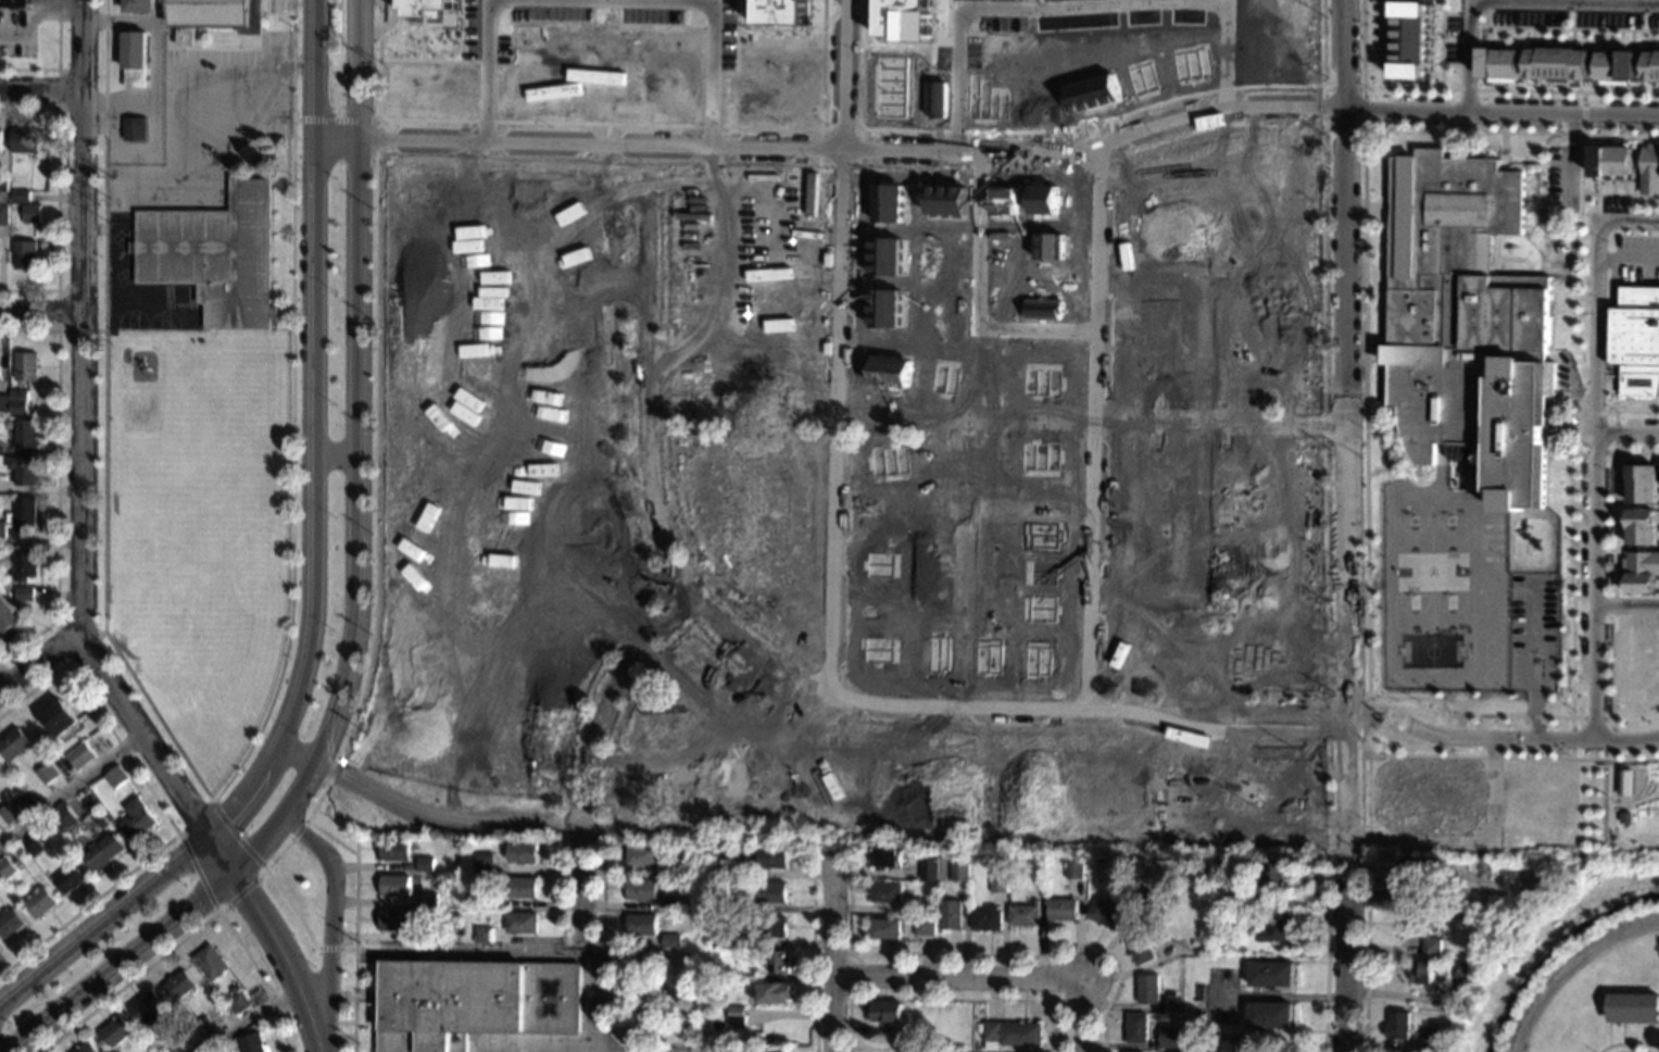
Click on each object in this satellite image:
road: (1511, 0)
building: (14, 3)
building: (139, 5)
building: (425, 8)
road: (981, 9)
building: (780, 12)
parking lot: (1575, 12)
parking lot: (12, 15)
road: (34, 16)
building: (215, 16)
building: (905, 18)
road: (424, 24)
road: (711, 24)
road: (1564, 27)
road: (387, 28)
road: (1226, 34)
road: (1442, 36)
building: (1409, 39)
road: (1379, 45)
parking lot: (17, 49)
building: (135, 58)
road: (449, 61)
road: (55, 62)
building: (1499, 62)
building: (1559, 63)
building: (1652, 65)
building: (1618, 66)
road: (60, 71)
road: (487, 73)
road: (843, 75)
road: (1467, 90)
road: (40, 91)
road: (1583, 112)
road: (335, 118)
road: (442, 122)
road: (1362, 127)
building: (135, 128)
road: (1022, 133)
road: (1323, 135)
building: (1, 139)
building: (24, 140)
road: (989, 152)
building: (254, 155)
road: (353, 156)
road: (474, 159)
building: (1612, 162)
road: (646, 163)
road: (752, 165)
building: (1650, 167)
building: (2, 176)
road: (1612, 192)
building: (812, 193)
building: (21, 196)
road: (1657, 196)
building: (1, 197)
road: (56, 199)
building: (30, 214)
building: (3, 215)
building: (25, 254)
building: (214, 254)
road: (1627, 259)
road: (1578, 263)
parking lot: (1636, 288)
road: (1596, 299)
road: (980, 301)
road: (40, 310)
road: (80, 318)
flagpole: (274, 322)
building: (1466, 324)
road: (60, 331)
building: (1636, 339)
building: (25, 365)
building: (0, 379)
building: (17, 401)
building: (3, 403)
road: (502, 409)
road: (665, 410)
road: (742, 413)
road: (834, 419)
building: (7, 424)
road: (1094, 428)
road: (1622, 431)
building: (25, 433)
road: (312, 433)
road: (1327, 444)
road: (1614, 451)
road: (356, 452)
road: (334, 455)
building: (22, 468)
building: (1642, 481)
road: (55, 483)
road: (658, 506)
park: (200, 509)
park: (1428, 511)
building: (24, 513)
road: (1349, 526)
building: (1642, 526)
building: (1, 531)
road: (1367, 558)
building: (24, 564)
building: (1641, 571)
road: (1614, 585)
building: (24, 593)
road: (1596, 594)
road: (679, 603)
road: (1626, 604)
park: (178, 616)
building: (7, 618)
road: (81, 627)
road: (804, 663)
road: (37, 664)
road: (12, 680)
road: (1328, 689)
road: (1160, 714)
building: (59, 716)
road: (1593, 717)
road: (467, 723)
road: (976, 727)
road: (1368, 734)
road: (139, 736)
building: (14, 743)
road: (299, 751)
road: (592, 753)
building: (79, 756)
road: (1513, 757)
building: (0, 766)
building: (0, 767)
building: (47, 772)
building: (115, 776)
building: (1625, 782)
road: (70, 792)
road: (205, 798)
park: (1508, 800)
road: (161, 809)
building: (8, 813)
building: (1626, 816)
building: (63, 817)
road: (192, 817)
road: (443, 817)
building: (137, 818)
road: (562, 818)
building: (102, 822)
road: (297, 828)
building: (420, 842)
road: (1474, 843)
building: (33, 846)
building: (681, 849)
building: (394, 850)
building: (102, 851)
road: (219, 852)
building: (521, 852)
building: (642, 855)
building: (772, 857)
building: (889, 860)
building: (483, 863)
building: (425, 864)
building: (5, 867)
building: (930, 868)
building: (1274, 869)
building: (1482, 869)
building: (742, 871)
road: (833, 871)
building: (1073, 871)
building: (1416, 871)
building: (960, 872)
building: (423, 876)
building: (68, 877)
building: (1010, 879)
building: (998, 884)
building: (394, 885)
building: (523, 887)
building: (1009, 888)
building: (641, 889)
road: (564, 890)
road: (240, 891)
road: (279, 891)
building: (771, 891)
building: (887, 892)
road: (1367, 893)
building: (1240, 899)
building: (428, 900)
building: (1147, 900)
building: (39, 902)
building: (673, 905)
building: (740, 905)
road: (330, 906)
building: (919, 910)
building: (1063, 910)
building: (1105, 914)
building: (1025, 915)
building: (951, 916)
road: (103, 917)
building: (1236, 917)
building: (986, 919)
building: (394, 920)
building: (10, 923)
building: (523, 923)
building: (642, 925)
building: (925, 926)
building: (772, 927)
building: (859, 928)
building: (884, 928)
building: (1236, 928)
building: (460, 930)
building: (1428, 930)
building: (1278, 931)
road: (188, 934)
building: (427, 935)
building: (483, 935)
building: (671, 941)
building: (740, 941)
road: (354, 943)
road: (336, 948)
building: (1140, 948)
road: (817, 949)
river: (1550, 950)
road: (981, 953)
road: (284, 957)
road: (118, 961)
building: (209, 962)
building: (777, 962)
building: (1460, 970)
building: (1471, 970)
building: (1424, 973)
building: (1272, 974)
road: (959, 975)
building: (761, 976)
building: (177, 985)
building: (232, 988)
building: (1148, 989)
road: (850, 991)
building: (774, 992)
road: (1274, 994)
road: (1064, 997)
road: (955, 999)
building: (237, 1002)
building: (474, 1002)
building: (1171, 1005)
building: (147, 1007)
building: (1634, 1007)
building: (887, 1012)
road: (1085, 1014)
building: (1270, 1015)
building: (737, 1016)
road: (247, 1017)
building: (1398, 1025)
building: (203, 1027)
building: (979, 1028)
building: (1138, 1028)
building: (910, 1029)
building: (114, 1031)
building: (1010, 1034)
building: (1170, 1037)
building: (1432, 1038)
building: (251, 1042)
road: (1627, 1042)
building: (1233, 1044)
building: (1158, 1045)
road: (3, 1047)
building: (171, 1047)
building: (85, 1048)
road: (1630, 1048)
building: (775, 1051)
building: (1397, 1051)

